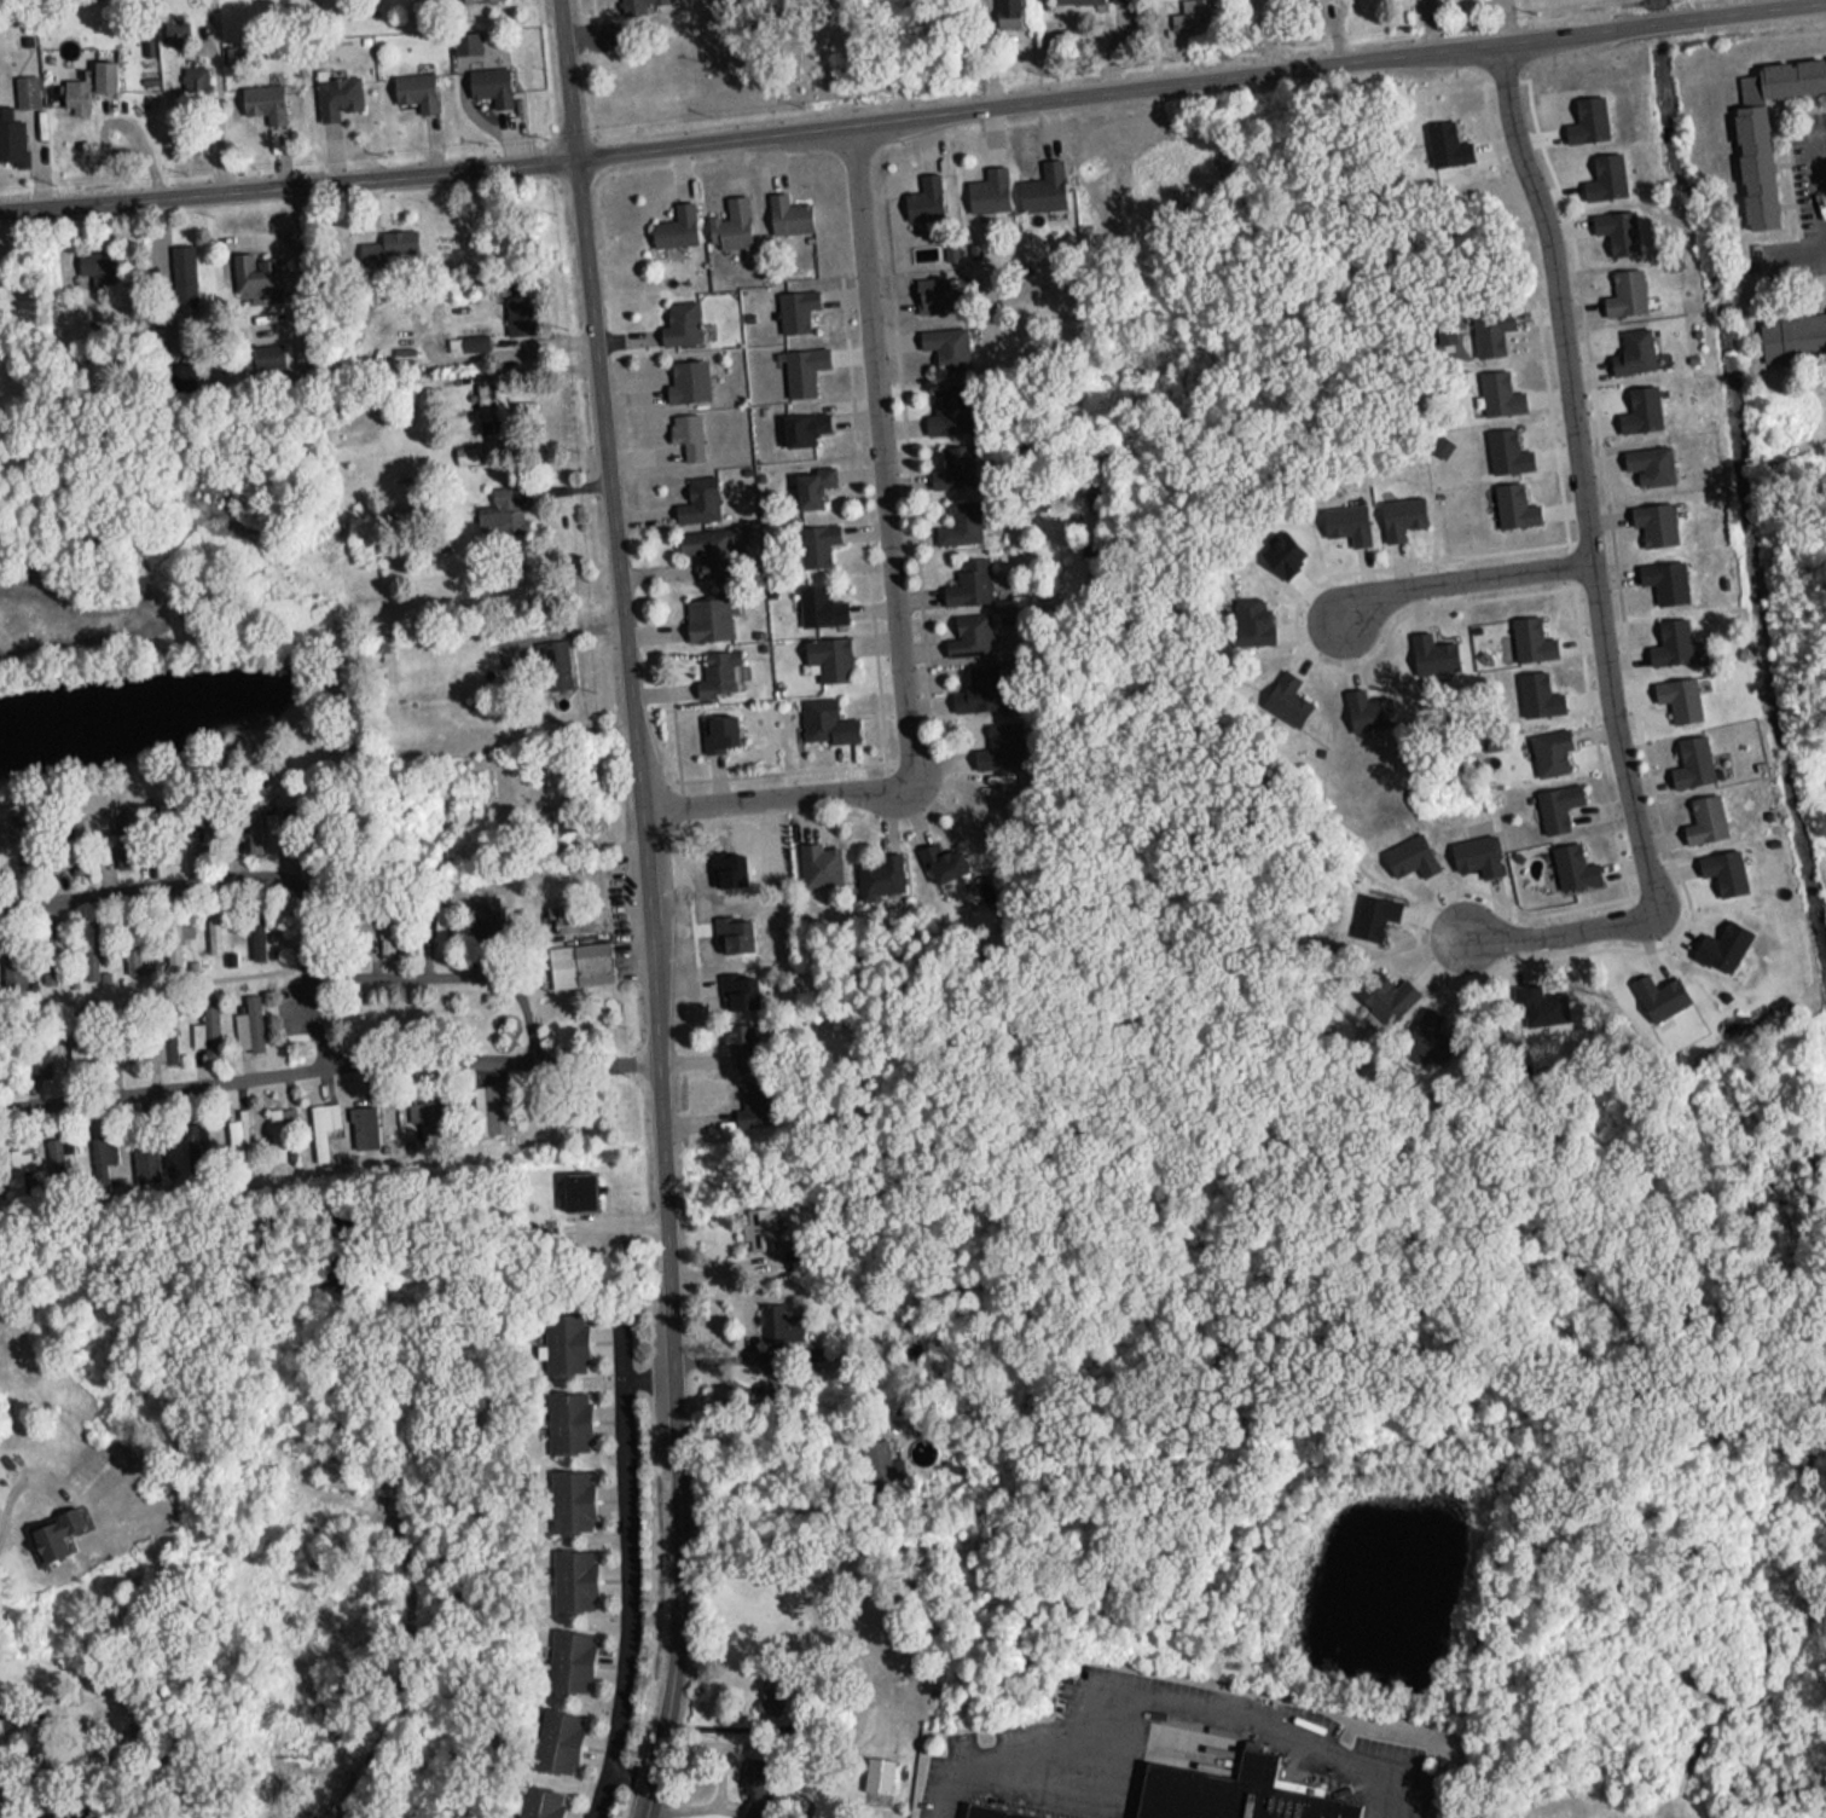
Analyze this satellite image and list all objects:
road: (1442, 5)
road: (1814, 5)
road: (1511, 23)
road: (1268, 37)
building: (1785, 70)
building: (488, 77)
building: (86, 80)
building: (413, 83)
building: (23, 85)
building: (337, 89)
building: (261, 97)
road: (914, 121)
building: (10, 132)
building: (1042, 180)
building: (986, 183)
building: (922, 191)
road: (1820, 196)
building: (786, 207)
building: (729, 216)
building: (673, 220)
building: (384, 231)
building: (180, 257)
building: (254, 265)
building: (1623, 286)
building: (931, 288)
building: (794, 302)
building: (679, 315)
building: (465, 336)
building: (943, 340)
building: (1630, 345)
building: (265, 349)
building: (801, 360)
building: (685, 374)
building: (483, 386)
building: (1496, 387)
building: (941, 405)
building: (802, 425)
building: (685, 428)
building: (1646, 457)
building: (949, 461)
building: (810, 477)
building: (696, 493)
building: (1512, 499)
building: (500, 505)
building: (1399, 509)
building: (956, 516)
building: (1652, 516)
building: (811, 538)
building: (706, 544)
road: (1592, 566)
building: (1660, 573)
building: (968, 575)
road: (1461, 579)
road: (892, 589)
building: (818, 600)
building: (705, 613)
building: (967, 627)
building: (1530, 632)
building: (1668, 636)
building: (825, 652)
building: (551, 656)
building: (715, 666)
building: (975, 683)
building: (1283, 693)
building: (824, 713)
building: (717, 726)
building: (1548, 745)
building: (1689, 755)
building: (1555, 798)
building: (1702, 814)
building: (943, 858)
road: (149, 898)
road: (645, 908)
building: (1372, 910)
building: (436, 922)
building: (590, 953)
road: (447, 988)
building: (1385, 988)
building: (247, 1020)
building: (207, 1026)
road: (591, 1071)
road: (338, 1072)
road: (162, 1092)
building: (488, 1101)
building: (320, 1119)
building: (273, 1127)
building: (15, 1163)
building: (578, 1183)
building: (757, 1222)
building: (775, 1316)
building: (564, 1337)
road: (619, 1378)
building: (566, 1415)
road: (772, 1444)
building: (569, 1494)
road: (6, 1505)
building: (572, 1574)
road: (627, 1599)
building: (568, 1654)
building: (555, 1735)
road: (626, 1774)
building: (1273, 1789)
building: (538, 1799)
building: (1219, 1801)
building: (980, 1814)

